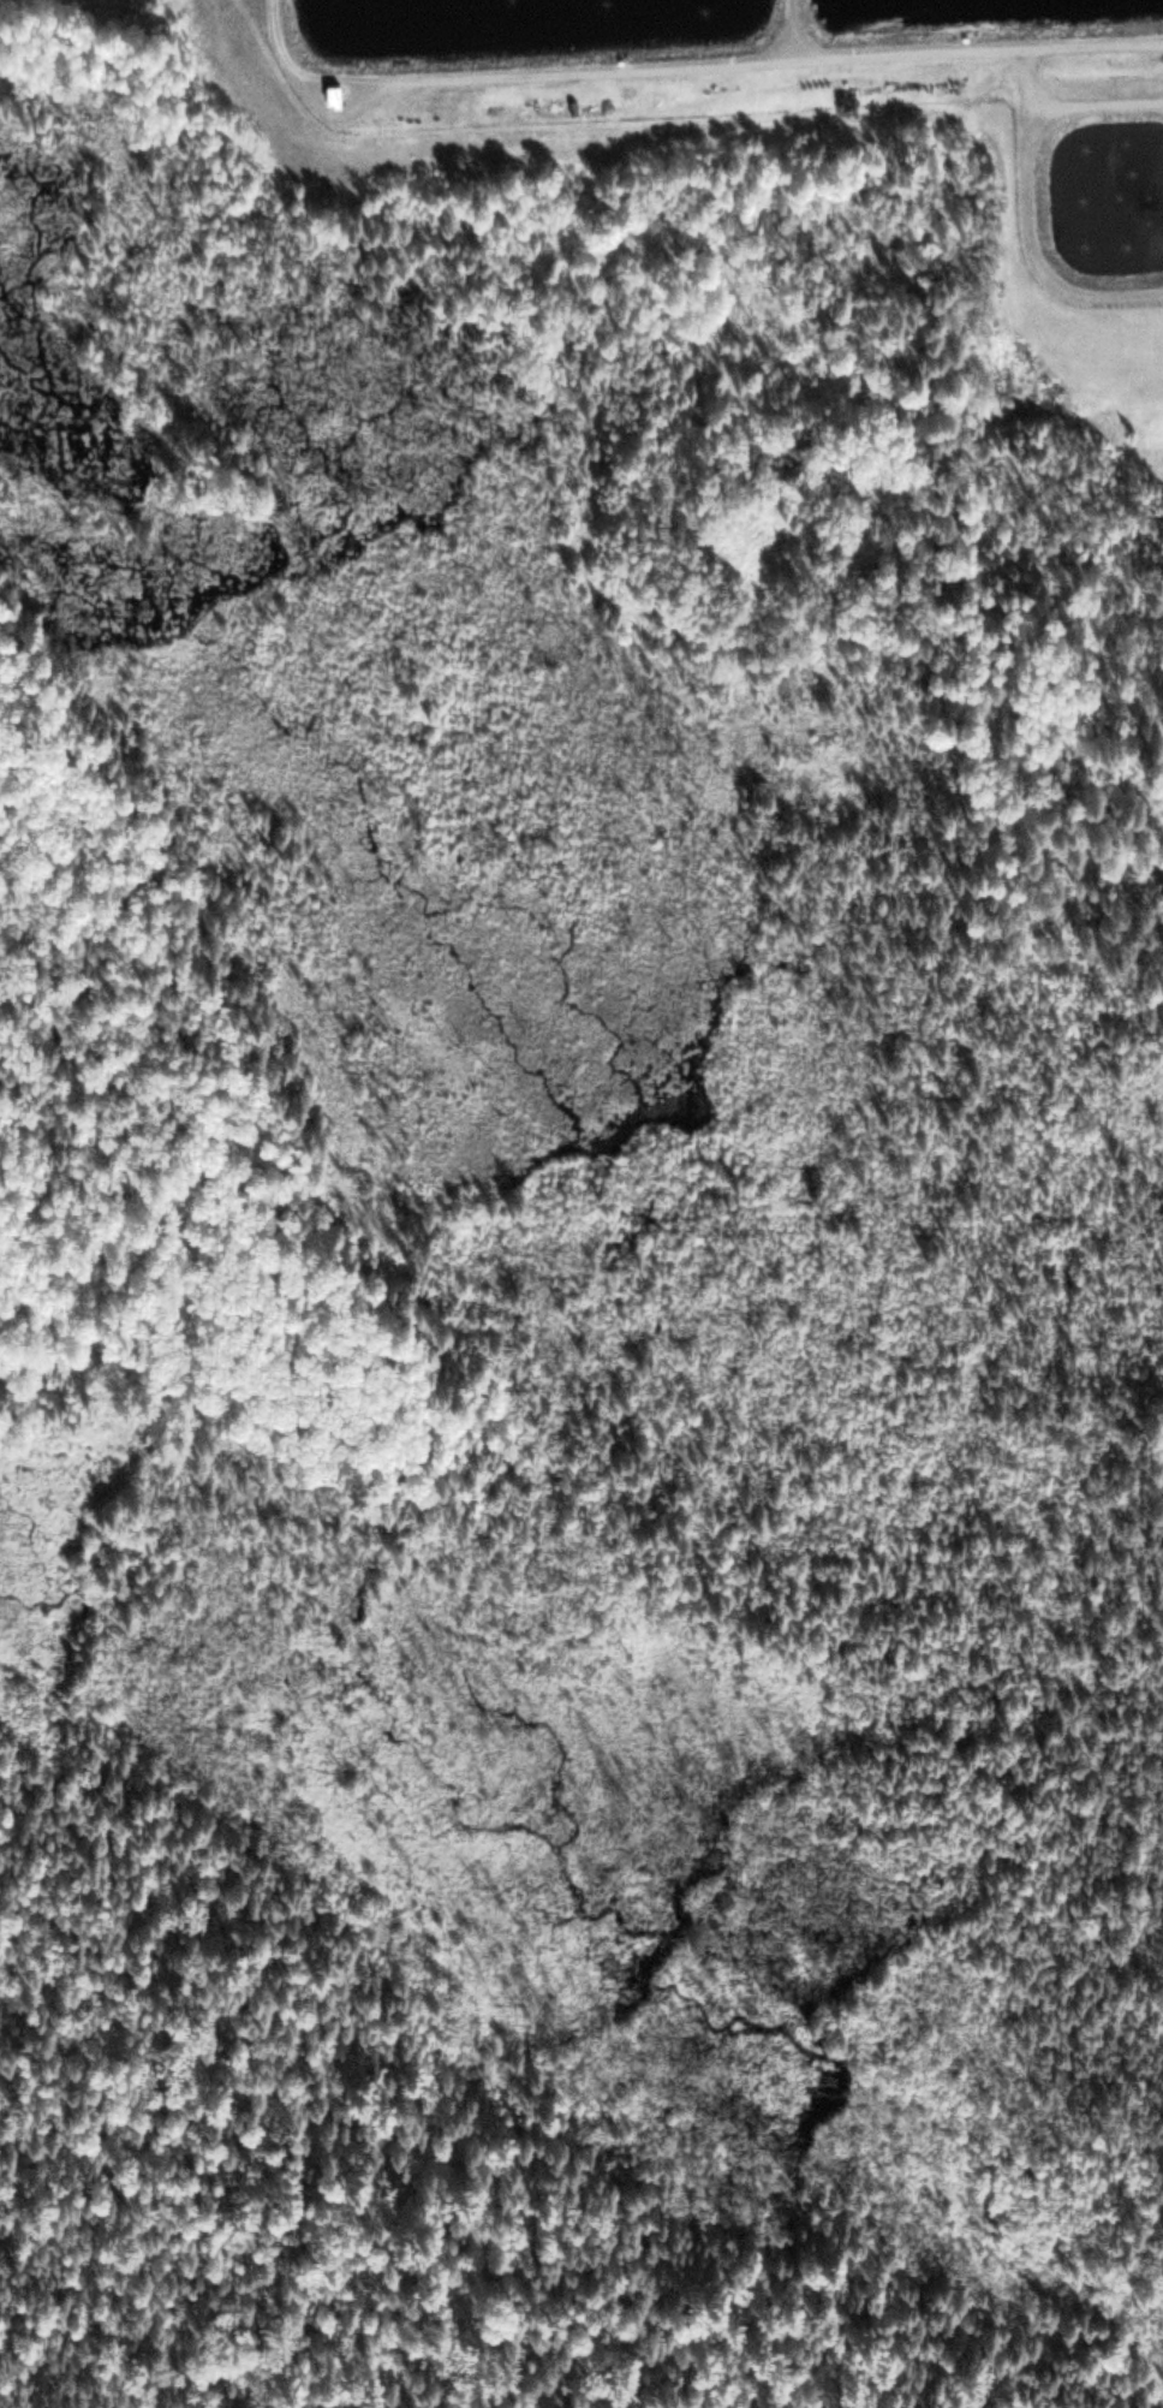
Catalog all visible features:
building: (339, 82)
wastewater plant: (740, 108)

